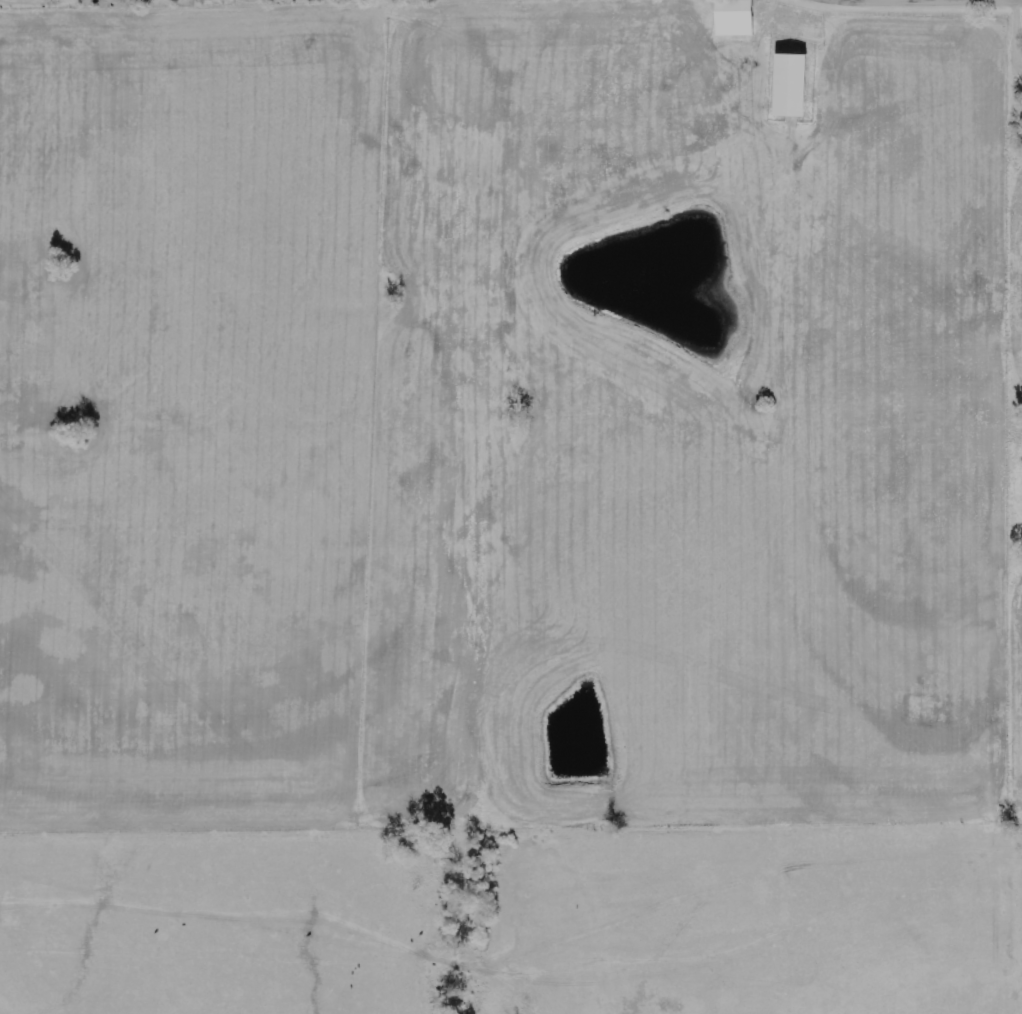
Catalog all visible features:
road: (939, 1)
building: (789, 84)

